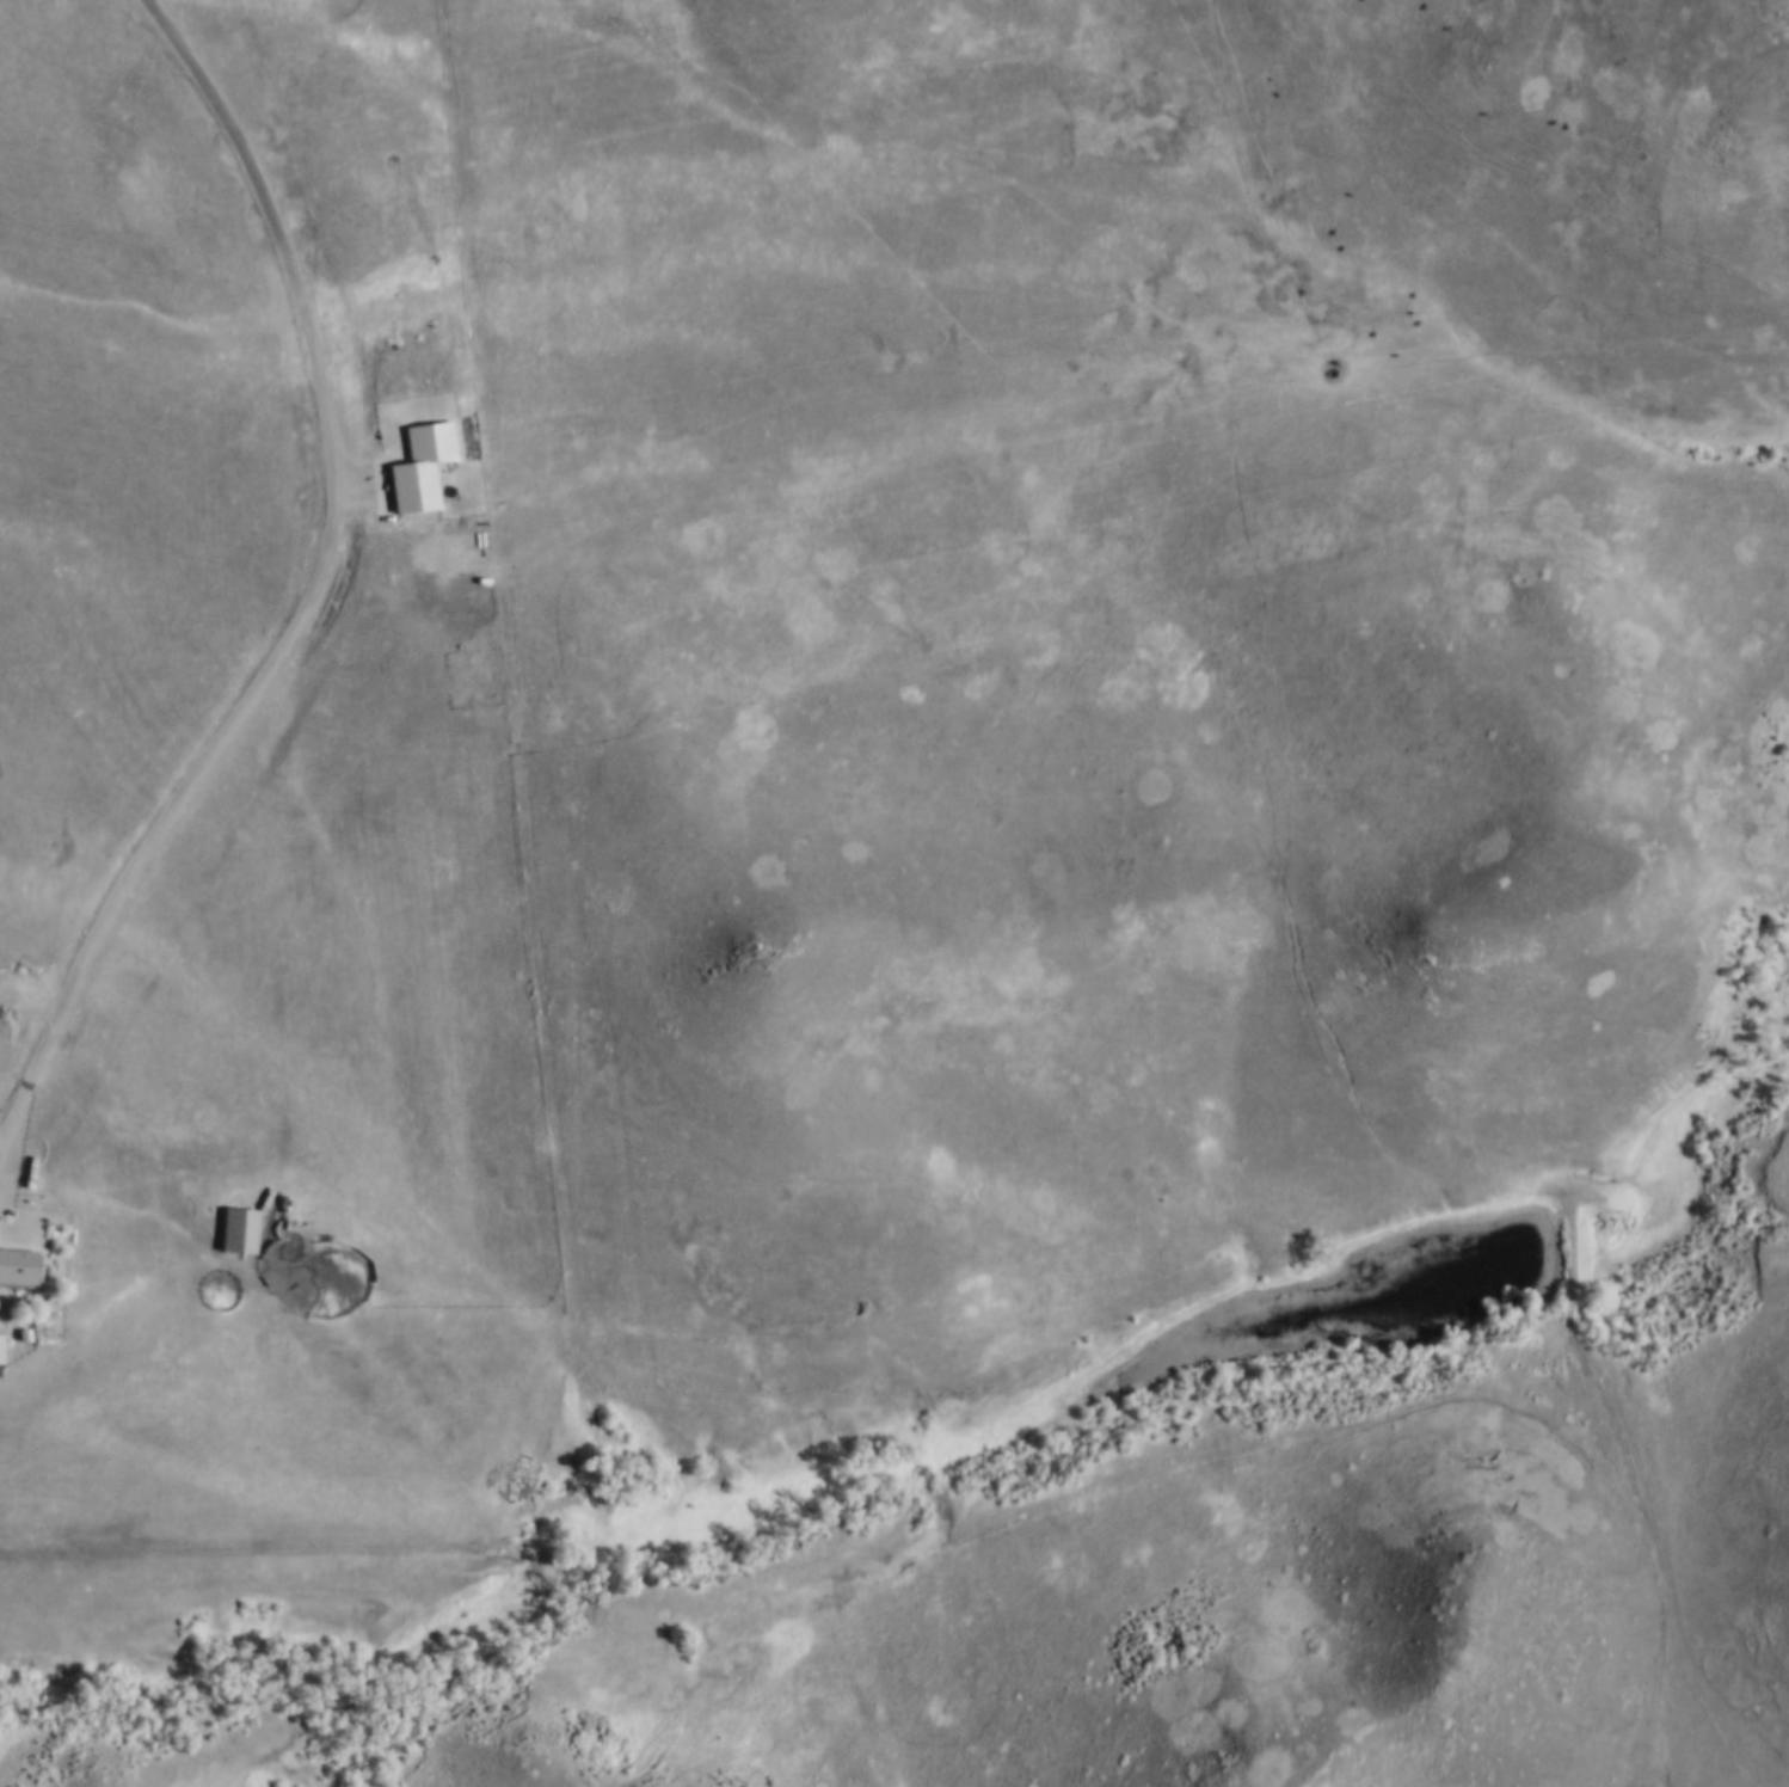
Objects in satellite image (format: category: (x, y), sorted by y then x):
road: (313, 595)
building: (244, 1230)
building: (21, 1269)

